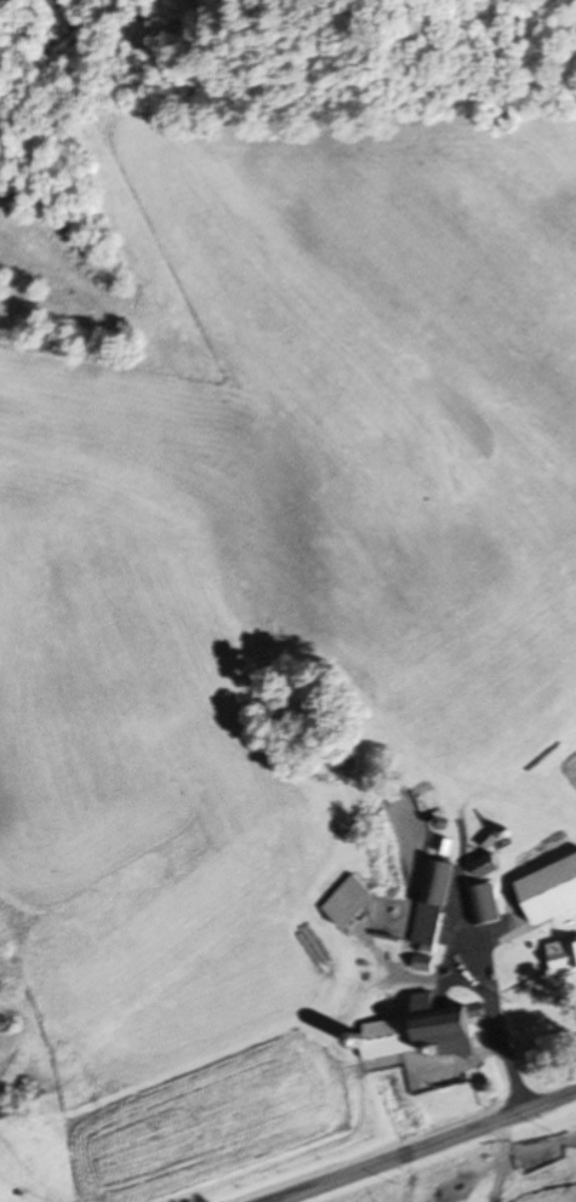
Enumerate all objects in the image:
building: (491, 866)
building: (552, 892)
building: (352, 903)
building: (435, 903)
building: (485, 906)
building: (564, 957)
road: (496, 1025)
building: (427, 1031)
road: (416, 1144)

